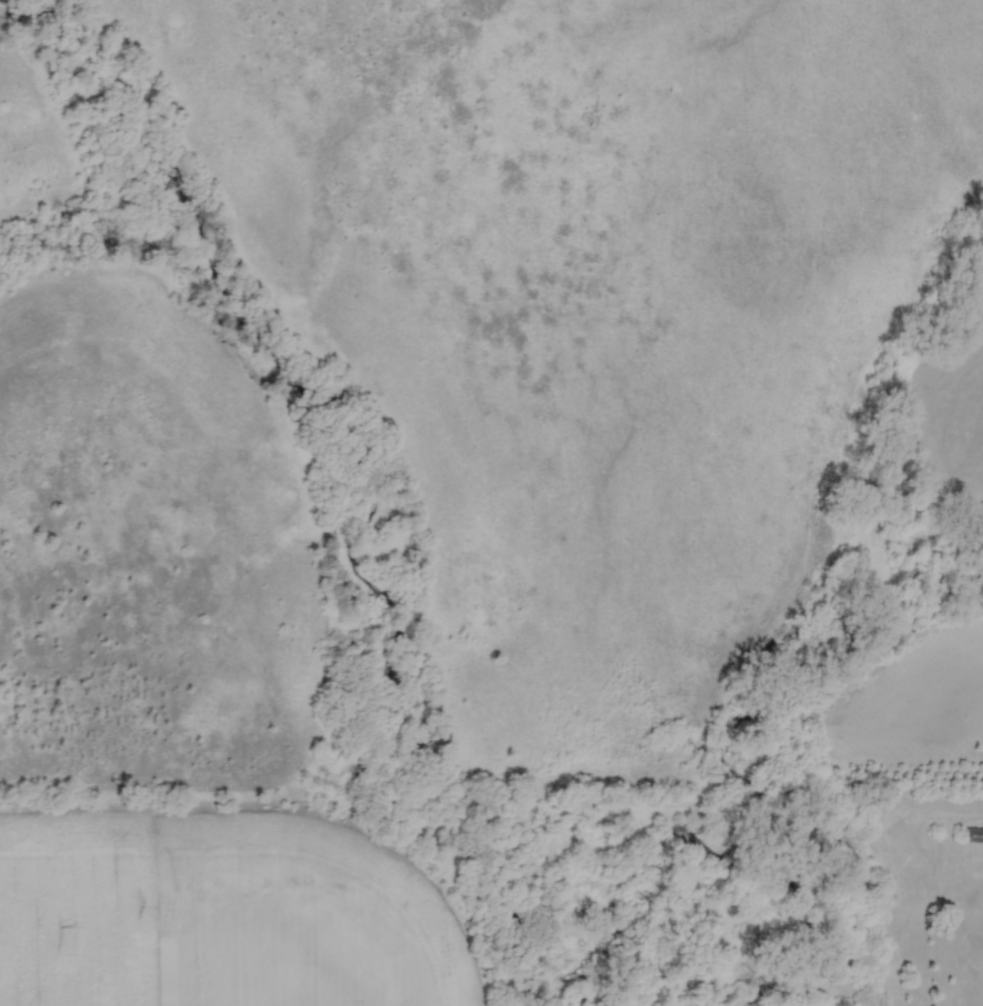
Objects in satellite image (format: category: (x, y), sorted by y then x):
building: (970, 834)

